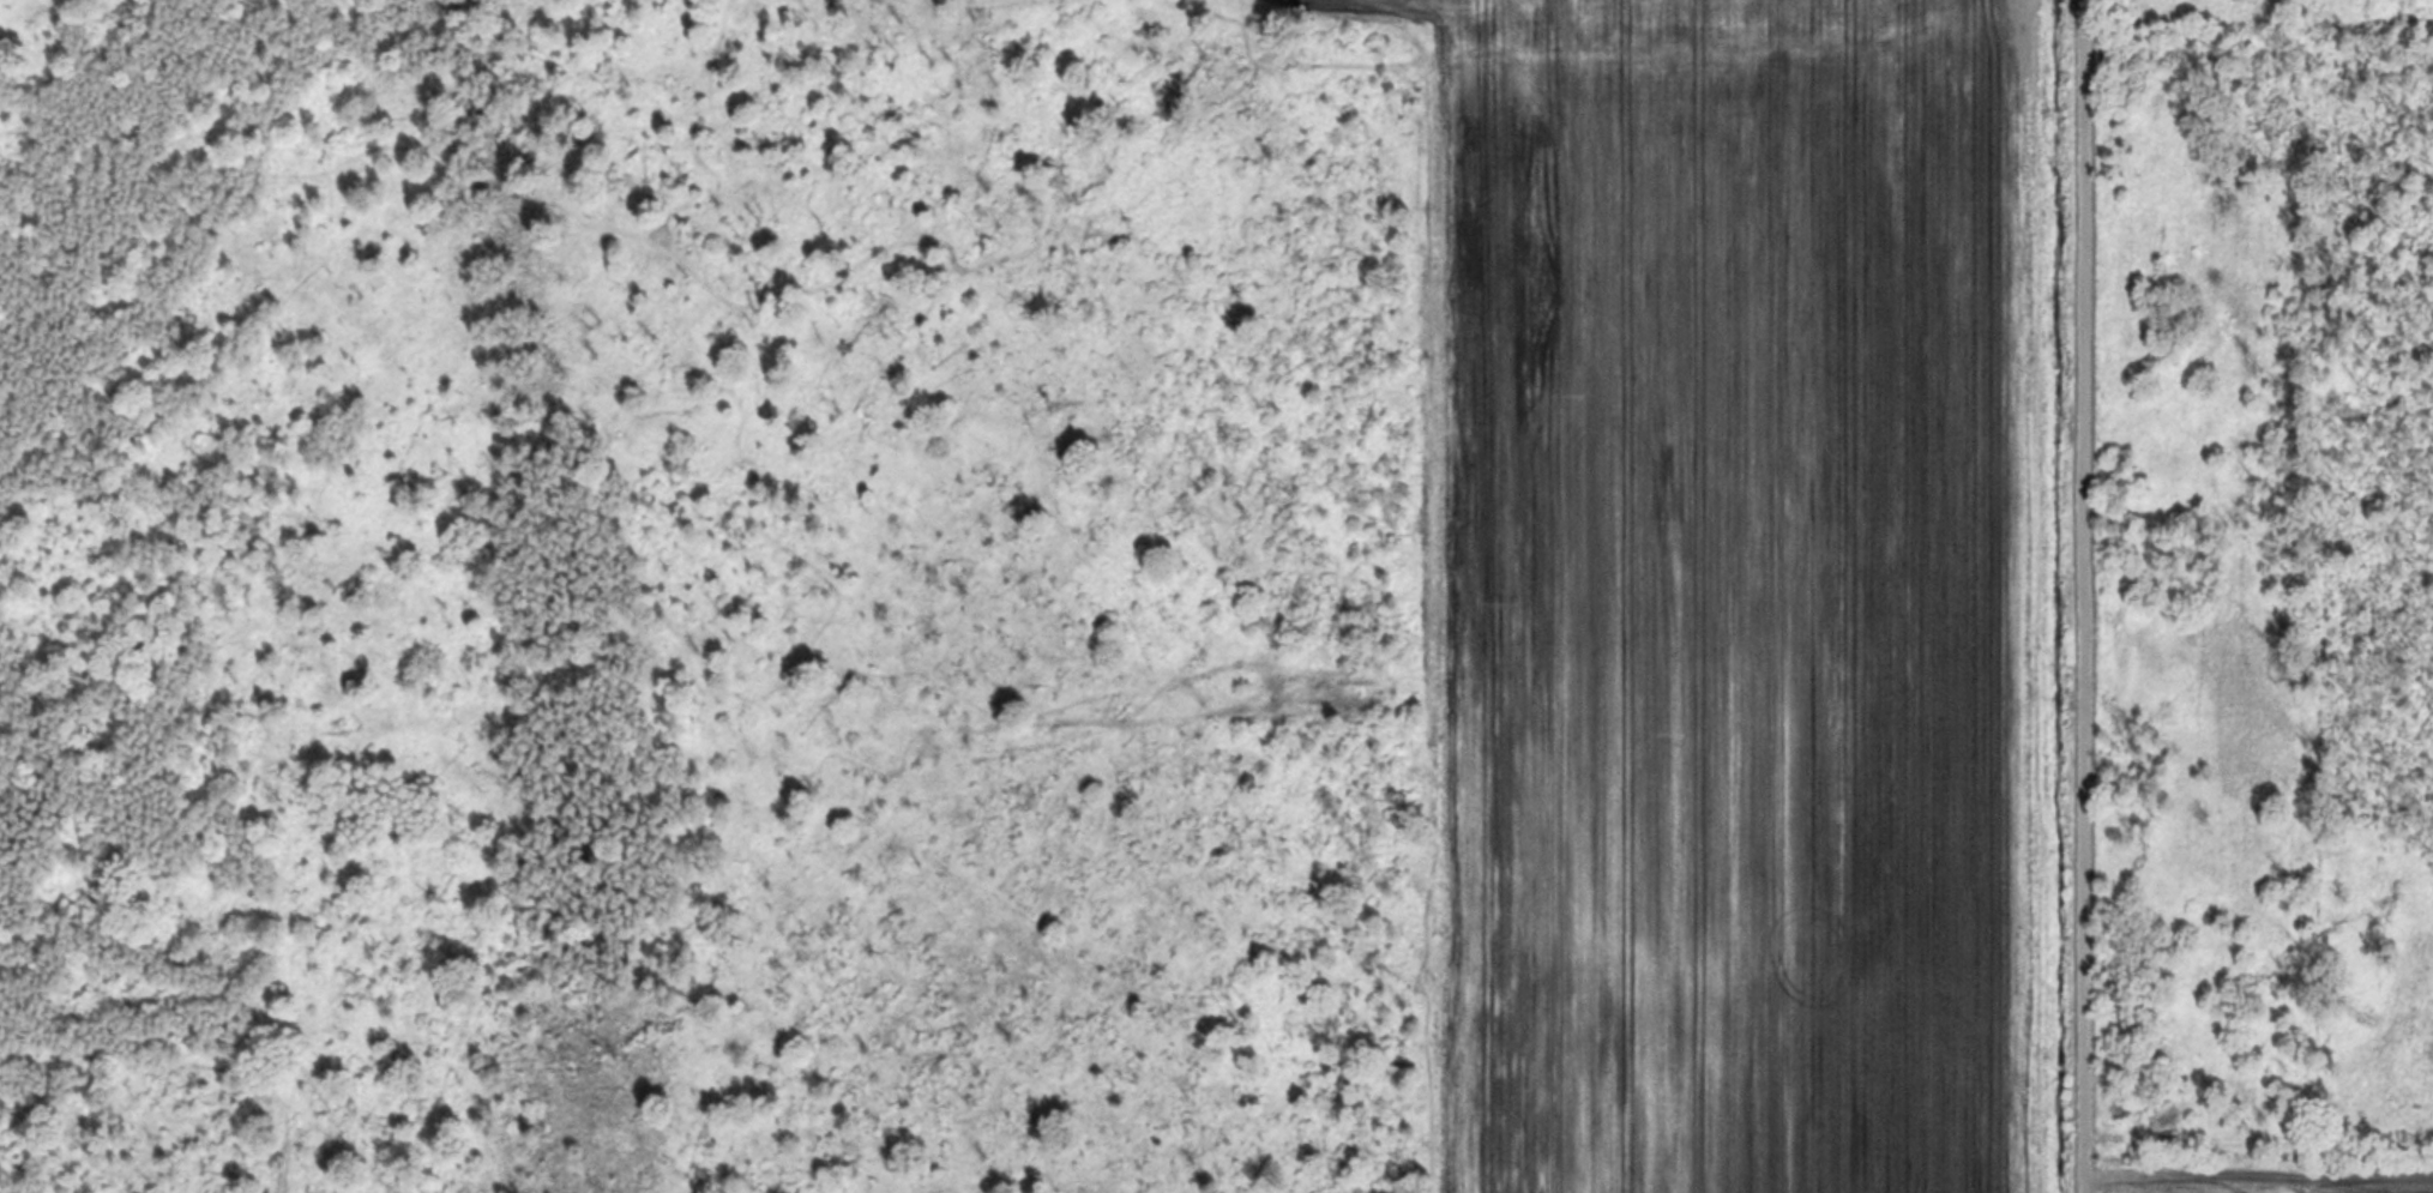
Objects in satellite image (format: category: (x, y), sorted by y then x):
road: (2084, 596)

